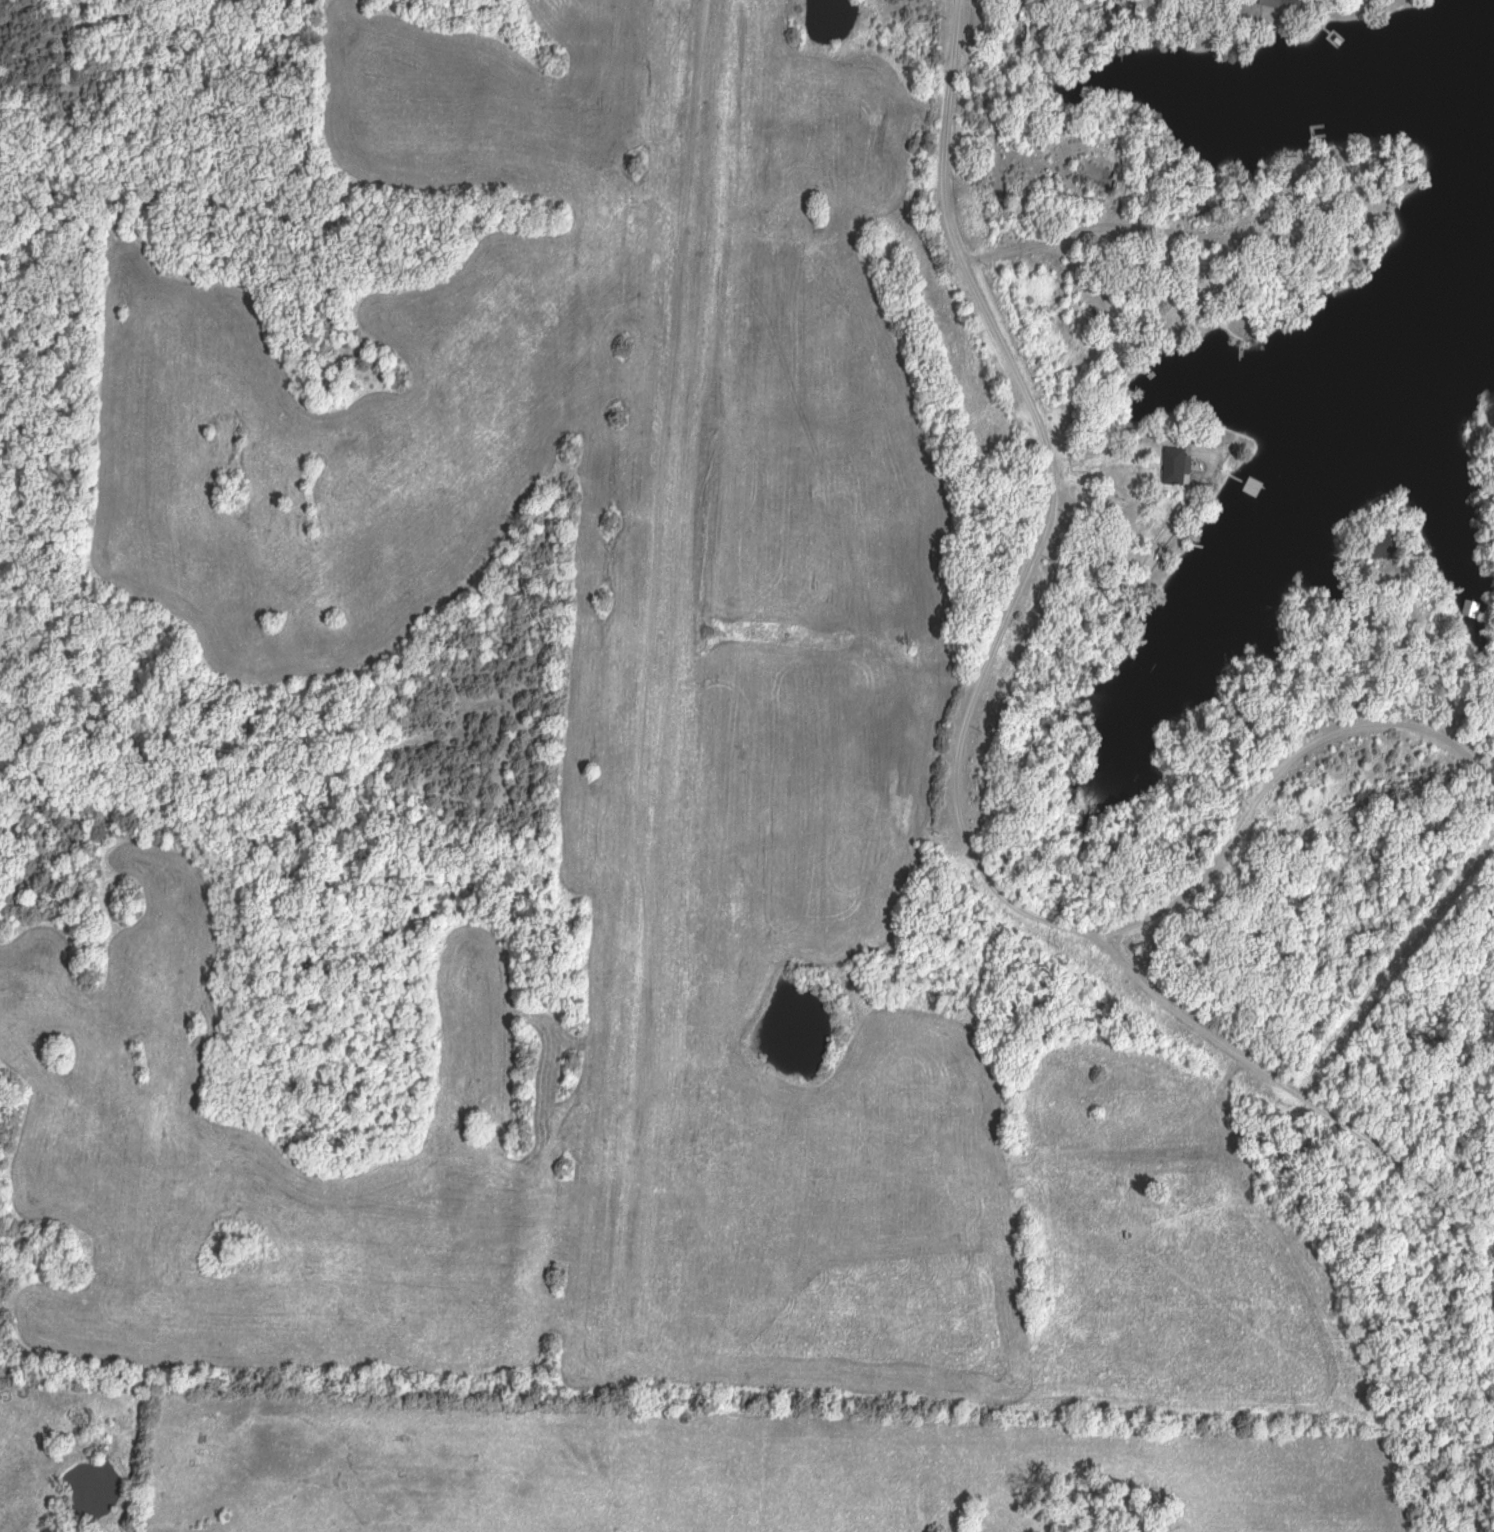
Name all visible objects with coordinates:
building: (1280, 4)
road: (1115, 228)
building: (1218, 341)
building: (1174, 467)
building: (1247, 489)
building: (1427, 505)
building: (1381, 550)
road: (1152, 561)
airport runway: (658, 690)
road: (959, 733)
road: (1277, 774)

